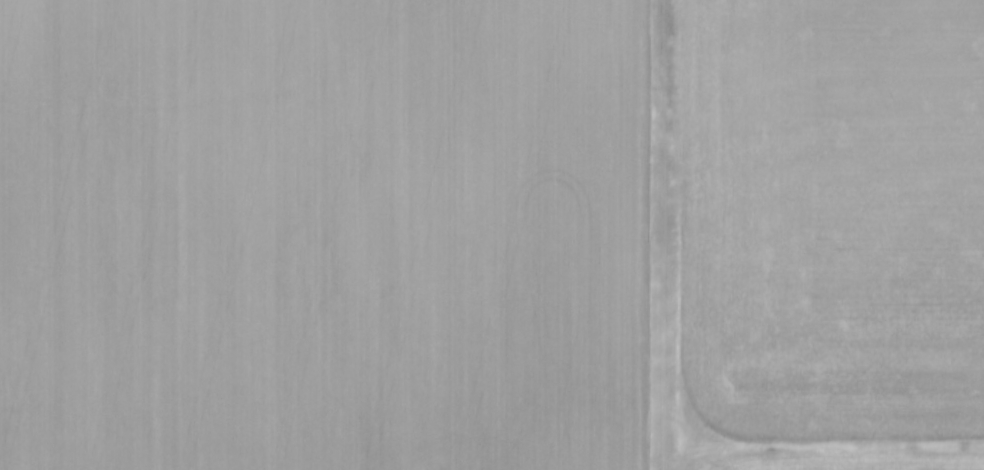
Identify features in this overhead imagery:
road: (659, 235)

